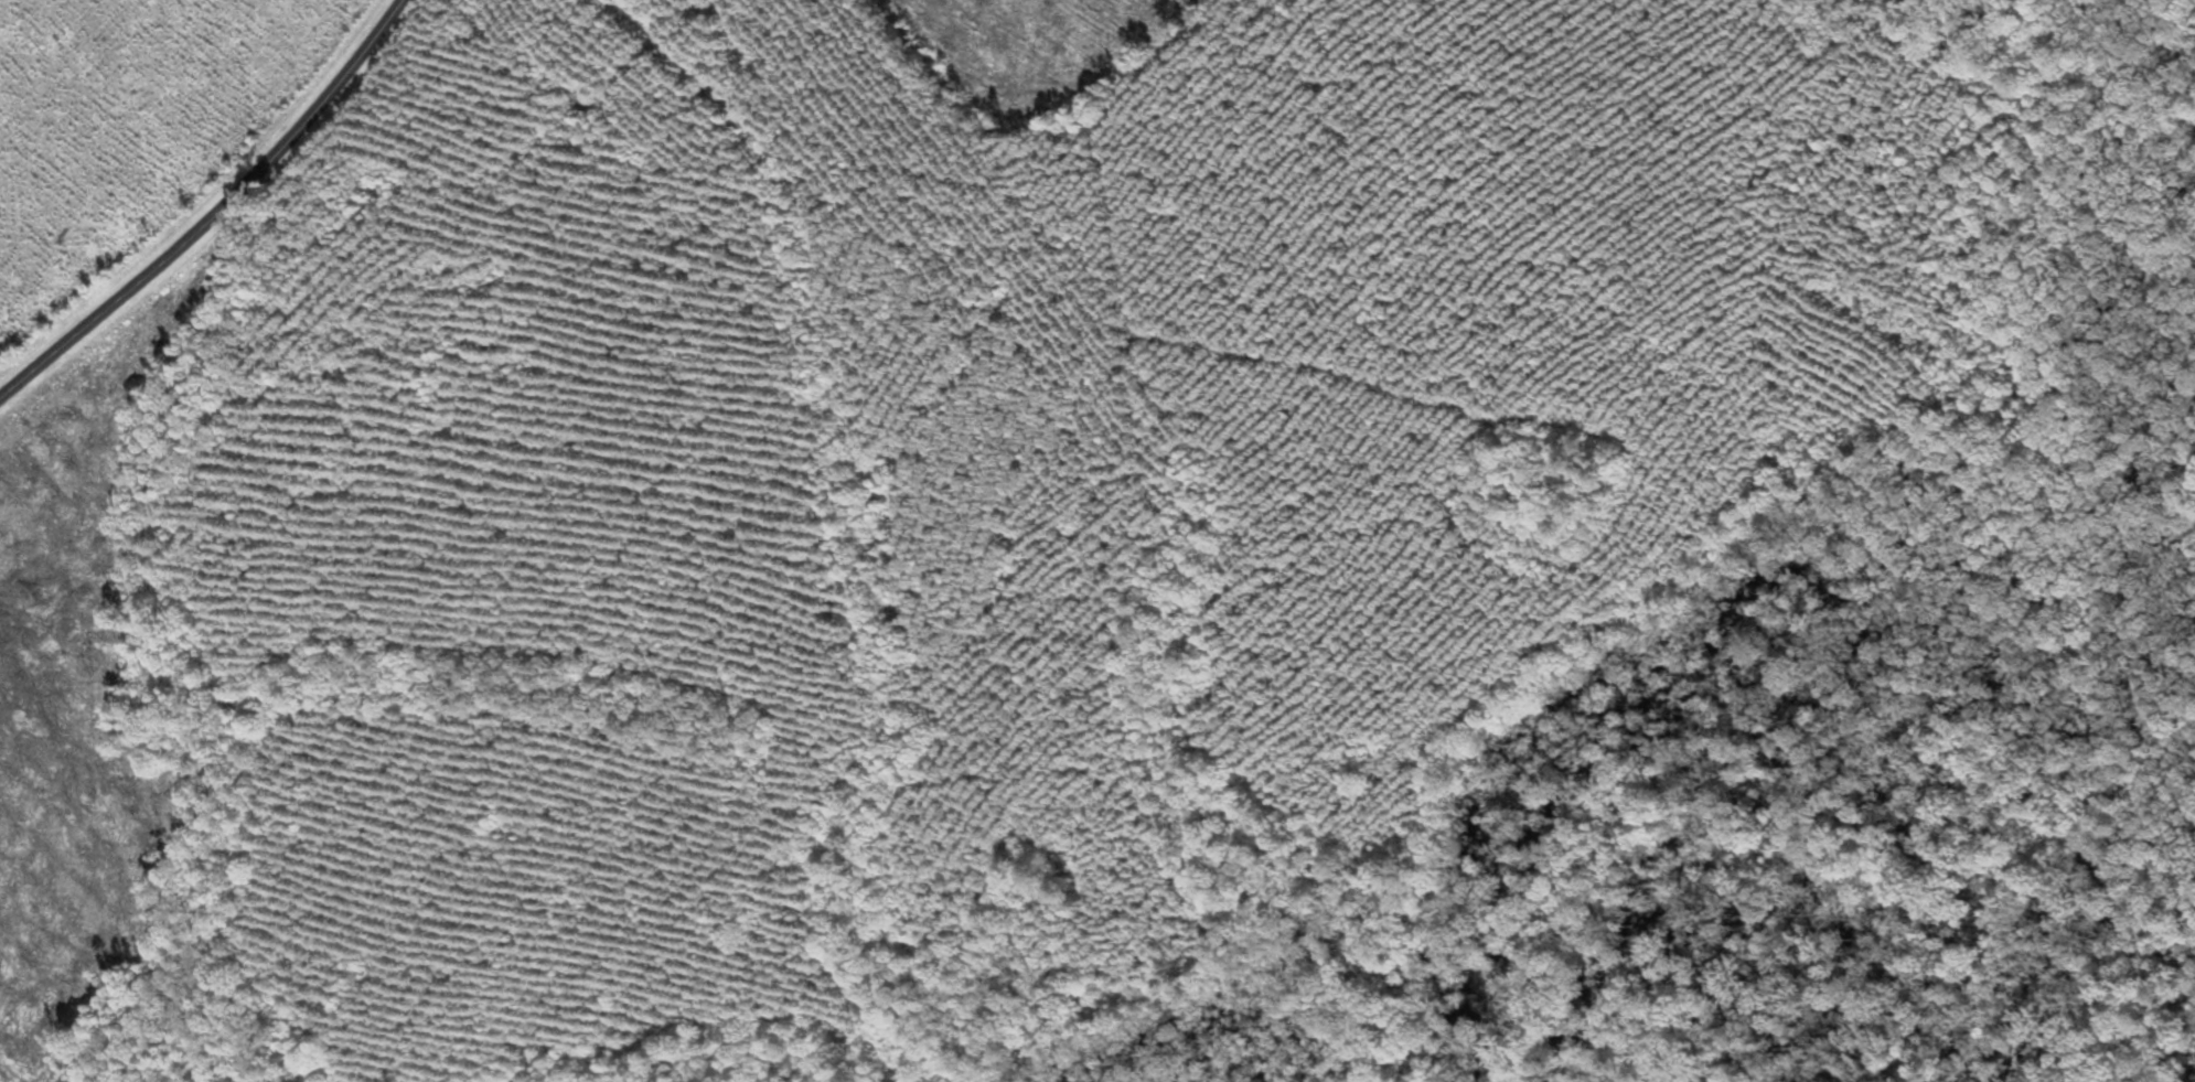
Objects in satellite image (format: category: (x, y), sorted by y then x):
road: (213, 208)

